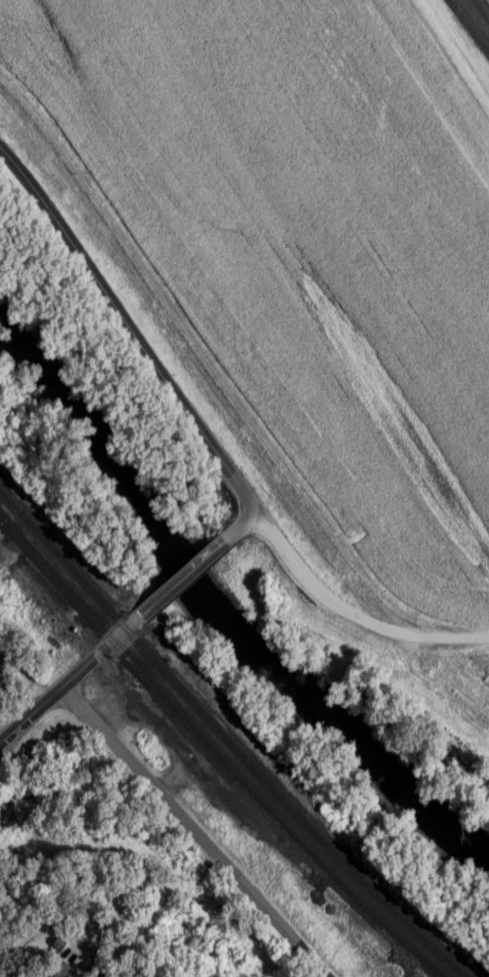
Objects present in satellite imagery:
crop: (313, 234)
road: (136, 329)
road: (242, 529)
road: (184, 582)
road: (366, 596)
river: (211, 601)
crop: (482, 663)
road: (72, 681)
railway: (227, 741)
railway: (213, 753)
road: (172, 840)
building: (57, 949)
road: (258, 963)

